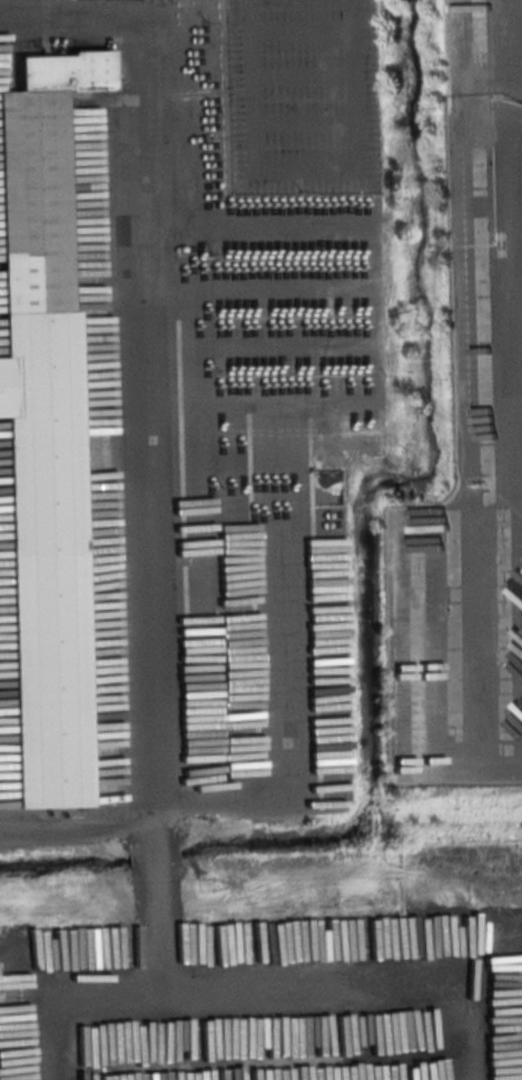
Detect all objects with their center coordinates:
road: (301, 22)
road: (303, 69)
road: (305, 127)
road: (304, 188)
road: (256, 288)
road: (372, 292)
road: (140, 337)
building: (42, 454)
road: (293, 743)
power tower: (206, 879)

